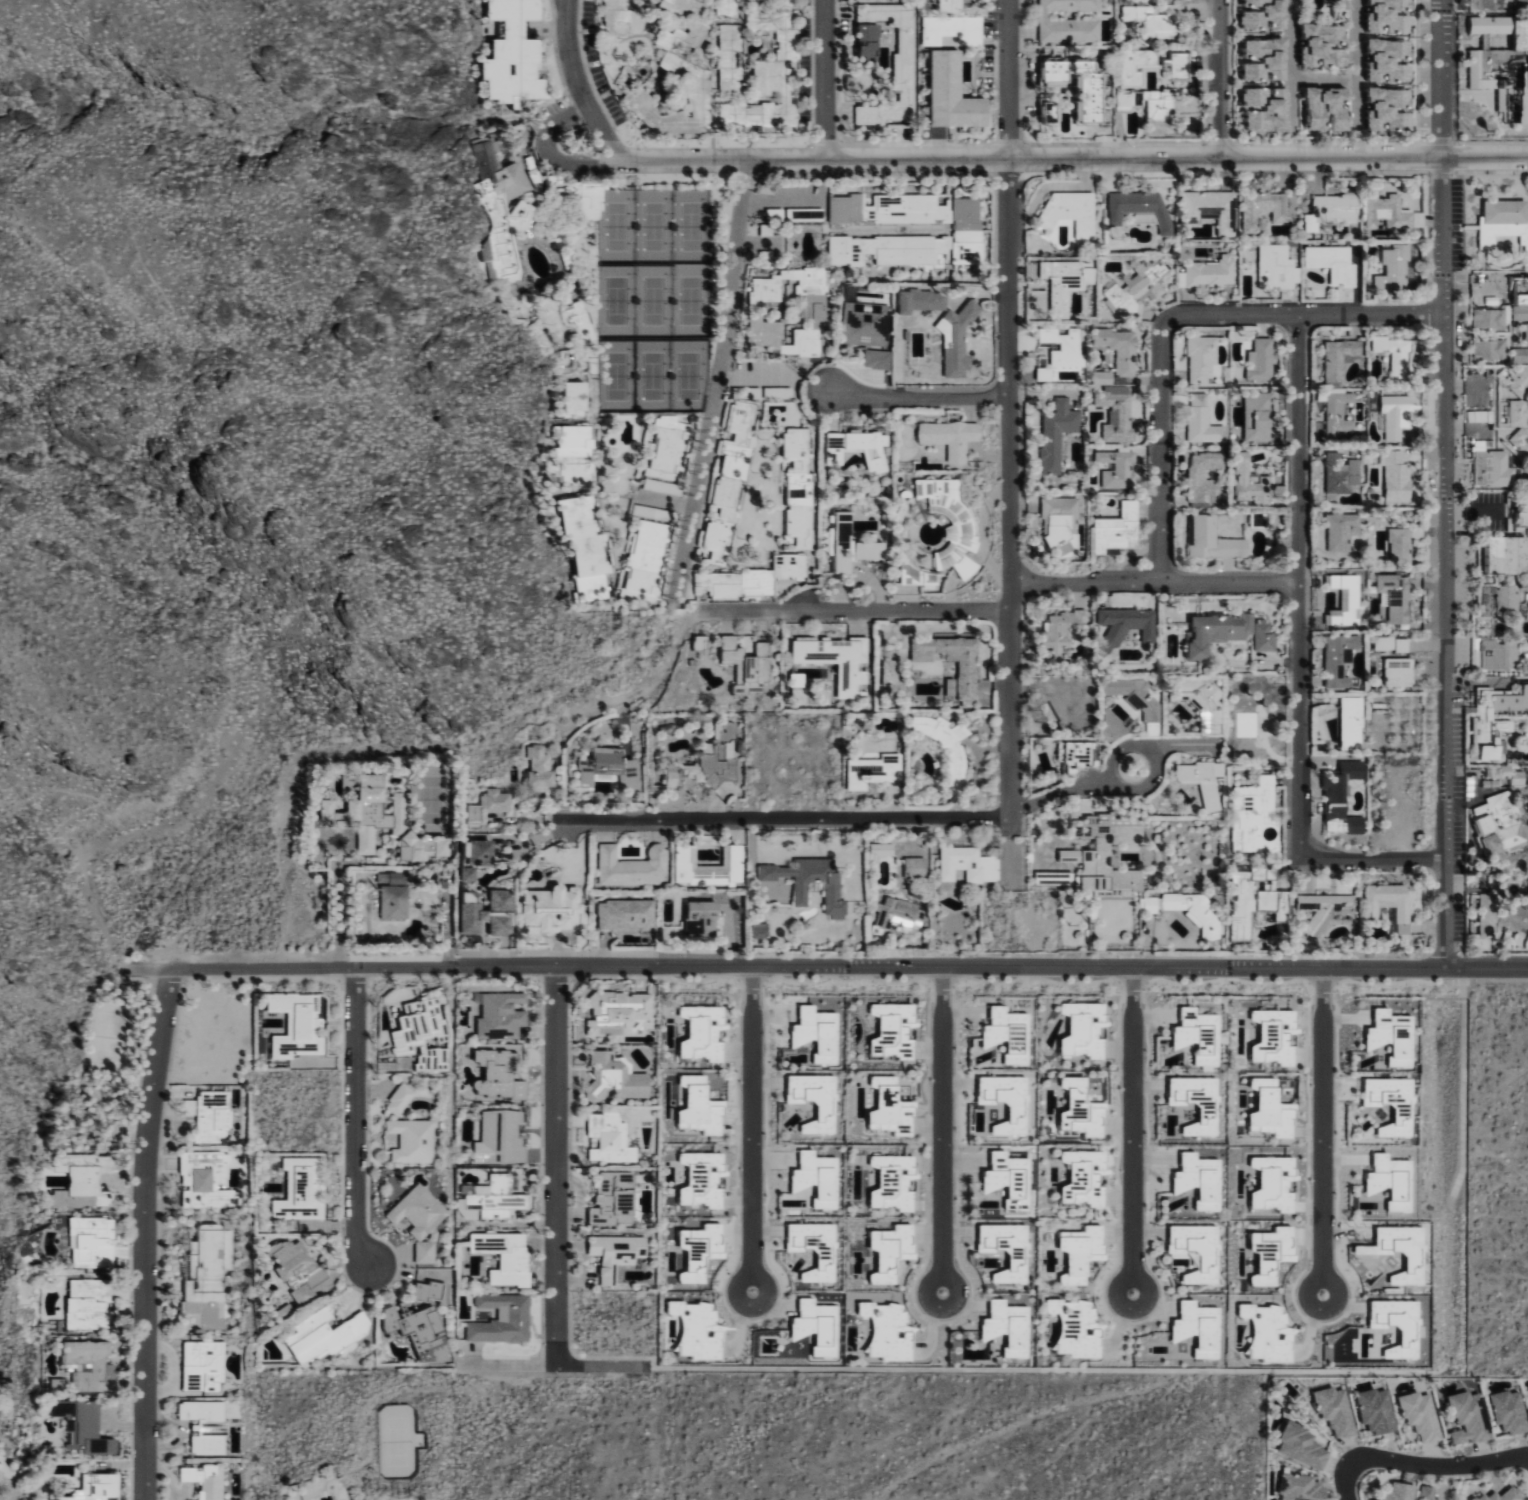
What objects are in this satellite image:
building: (1346, 4)
building: (949, 6)
building: (726, 8)
building: (1265, 14)
building: (618, 16)
building: (1391, 16)
building: (1151, 21)
building: (1069, 22)
building: (698, 25)
building: (953, 29)
building: (1324, 45)
building: (515, 54)
building: (729, 57)
building: (868, 57)
building: (1266, 58)
building: (1389, 59)
road: (1290, 62)
road: (1355, 64)
building: (1527, 64)
building: (1180, 65)
building: (1136, 66)
building: (1478, 70)
building: (769, 71)
road: (824, 80)
road: (1219, 80)
road: (1322, 80)
road: (576, 81)
building: (698, 91)
building: (953, 93)
building: (1129, 99)
building: (1092, 104)
building: (1267, 108)
building: (1328, 108)
building: (1390, 109)
building: (1050, 110)
building: (1159, 110)
road: (1070, 160)
building: (503, 207)
building: (888, 208)
building: (1141, 208)
building: (1211, 208)
building: (1263, 208)
building: (1332, 209)
building: (1071, 211)
building: (1387, 211)
building: (1502, 223)
building: (919, 242)
building: (1334, 263)
building: (1276, 267)
building: (1395, 269)
building: (1211, 271)
building: (1067, 282)
building: (1138, 290)
building: (922, 300)
building: (789, 311)
road: (1302, 314)
building: (1489, 318)
building: (865, 323)
building: (585, 327)
building: (1527, 332)
building: (958, 340)
building: (1065, 347)
building: (1120, 348)
building: (1490, 349)
building: (1396, 354)
building: (1520, 354)
building: (1340, 357)
building: (878, 358)
building: (1202, 358)
building: (1262, 359)
building: (1045, 373)
building: (1104, 377)
building: (1520, 379)
road: (719, 382)
building: (576, 396)
road: (919, 399)
road: (1010, 408)
building: (1339, 410)
building: (1117, 412)
building: (1519, 412)
building: (1396, 414)
building: (1478, 415)
building: (1260, 418)
building: (1203, 420)
building: (1058, 433)
building: (951, 437)
building: (1521, 441)
building: (858, 448)
building: (668, 449)
road: (1160, 453)
building: (577, 455)
building: (1119, 468)
building: (1495, 469)
building: (1205, 475)
building: (1341, 475)
building: (730, 481)
building: (1252, 482)
building: (649, 483)
building: (798, 484)
road: (1446, 484)
building: (1523, 509)
building: (1258, 519)
building: (1061, 522)
building: (952, 525)
building: (1119, 529)
building: (1342, 530)
road: (304, 540)
building: (1214, 540)
building: (844, 542)
building: (1404, 543)
building: (587, 547)
building: (871, 549)
building: (1507, 555)
building: (647, 561)
building: (790, 567)
road: (1154, 581)
building: (739, 584)
road: (1298, 586)
building: (1397, 596)
building: (1347, 598)
road: (852, 610)
building: (1127, 625)
building: (1061, 630)
building: (1218, 631)
building: (1265, 637)
building: (1392, 643)
building: (836, 660)
building: (1341, 660)
building: (747, 666)
building: (890, 672)
building: (1400, 672)
building: (969, 683)
building: (952, 686)
road: (641, 687)
building: (1137, 696)
building: (1201, 702)
building: (1495, 720)
building: (1352, 723)
building: (1112, 727)
road: (1182, 746)
building: (1079, 756)
building: (709, 761)
building: (541, 766)
building: (617, 766)
building: (874, 771)
building: (586, 772)
building: (1517, 777)
building: (1204, 779)
road: (1147, 785)
road: (1060, 794)
building: (1343, 797)
building: (491, 804)
building: (374, 806)
building: (1253, 814)
road: (783, 819)
building: (1096, 823)
building: (1504, 833)
road: (56, 840)
building: (367, 840)
building: (442, 847)
building: (416, 849)
building: (881, 850)
road: (1372, 858)
building: (968, 864)
building: (633, 866)
building: (710, 866)
building: (916, 867)
building: (1101, 871)
building: (1055, 878)
building: (812, 882)
building: (1526, 891)
road: (338, 903)
building: (1152, 904)
building: (1242, 905)
building: (1392, 905)
building: (553, 908)
building: (1195, 909)
building: (1322, 910)
building: (490, 914)
building: (627, 915)
building: (900, 915)
building: (702, 918)
building: (1500, 919)
building: (760, 930)
road: (613, 968)
road: (1314, 968)
building: (615, 1011)
building: (1079, 1029)
building: (888, 1030)
building: (698, 1032)
building: (812, 1033)
building: (1002, 1033)
building: (1194, 1036)
building: (1270, 1036)
building: (497, 1072)
building: (614, 1076)
building: (397, 1098)
building: (810, 1099)
building: (1001, 1101)
building: (1192, 1102)
building: (1386, 1103)
building: (695, 1106)
building: (885, 1107)
building: (1077, 1108)
building: (1266, 1110)
road: (749, 1130)
road: (935, 1134)
road: (1126, 1136)
road: (1330, 1136)
building: (499, 1137)
building: (607, 1138)
building: (408, 1139)
road: (554, 1167)
road: (354, 1168)
building: (83, 1177)
building: (1001, 1178)
building: (698, 1179)
building: (1193, 1179)
building: (888, 1182)
building: (608, 1198)
building: (415, 1210)
road: (149, 1234)
building: (94, 1240)
building: (809, 1248)
building: (1000, 1249)
building: (695, 1250)
building: (1190, 1250)
building: (422, 1251)
building: (886, 1251)
building: (1075, 1252)
building: (612, 1254)
building: (500, 1256)
building: (424, 1290)
building: (88, 1303)
building: (501, 1323)
building: (811, 1325)
building: (1004, 1326)
building: (1194, 1327)
building: (1076, 1328)
building: (694, 1330)
building: (885, 1330)
road: (556, 1366)
building: (1333, 1408)
building: (1373, 1408)
building: (1507, 1409)
building: (1418, 1413)
building: (1466, 1416)
building: (202, 1425)
building: (93, 1426)
building: (1299, 1445)
road: (1438, 1465)
road: (1343, 1481)
building: (96, 1487)
building: (1297, 1487)
building: (1395, 1491)
building: (1500, 1495)

